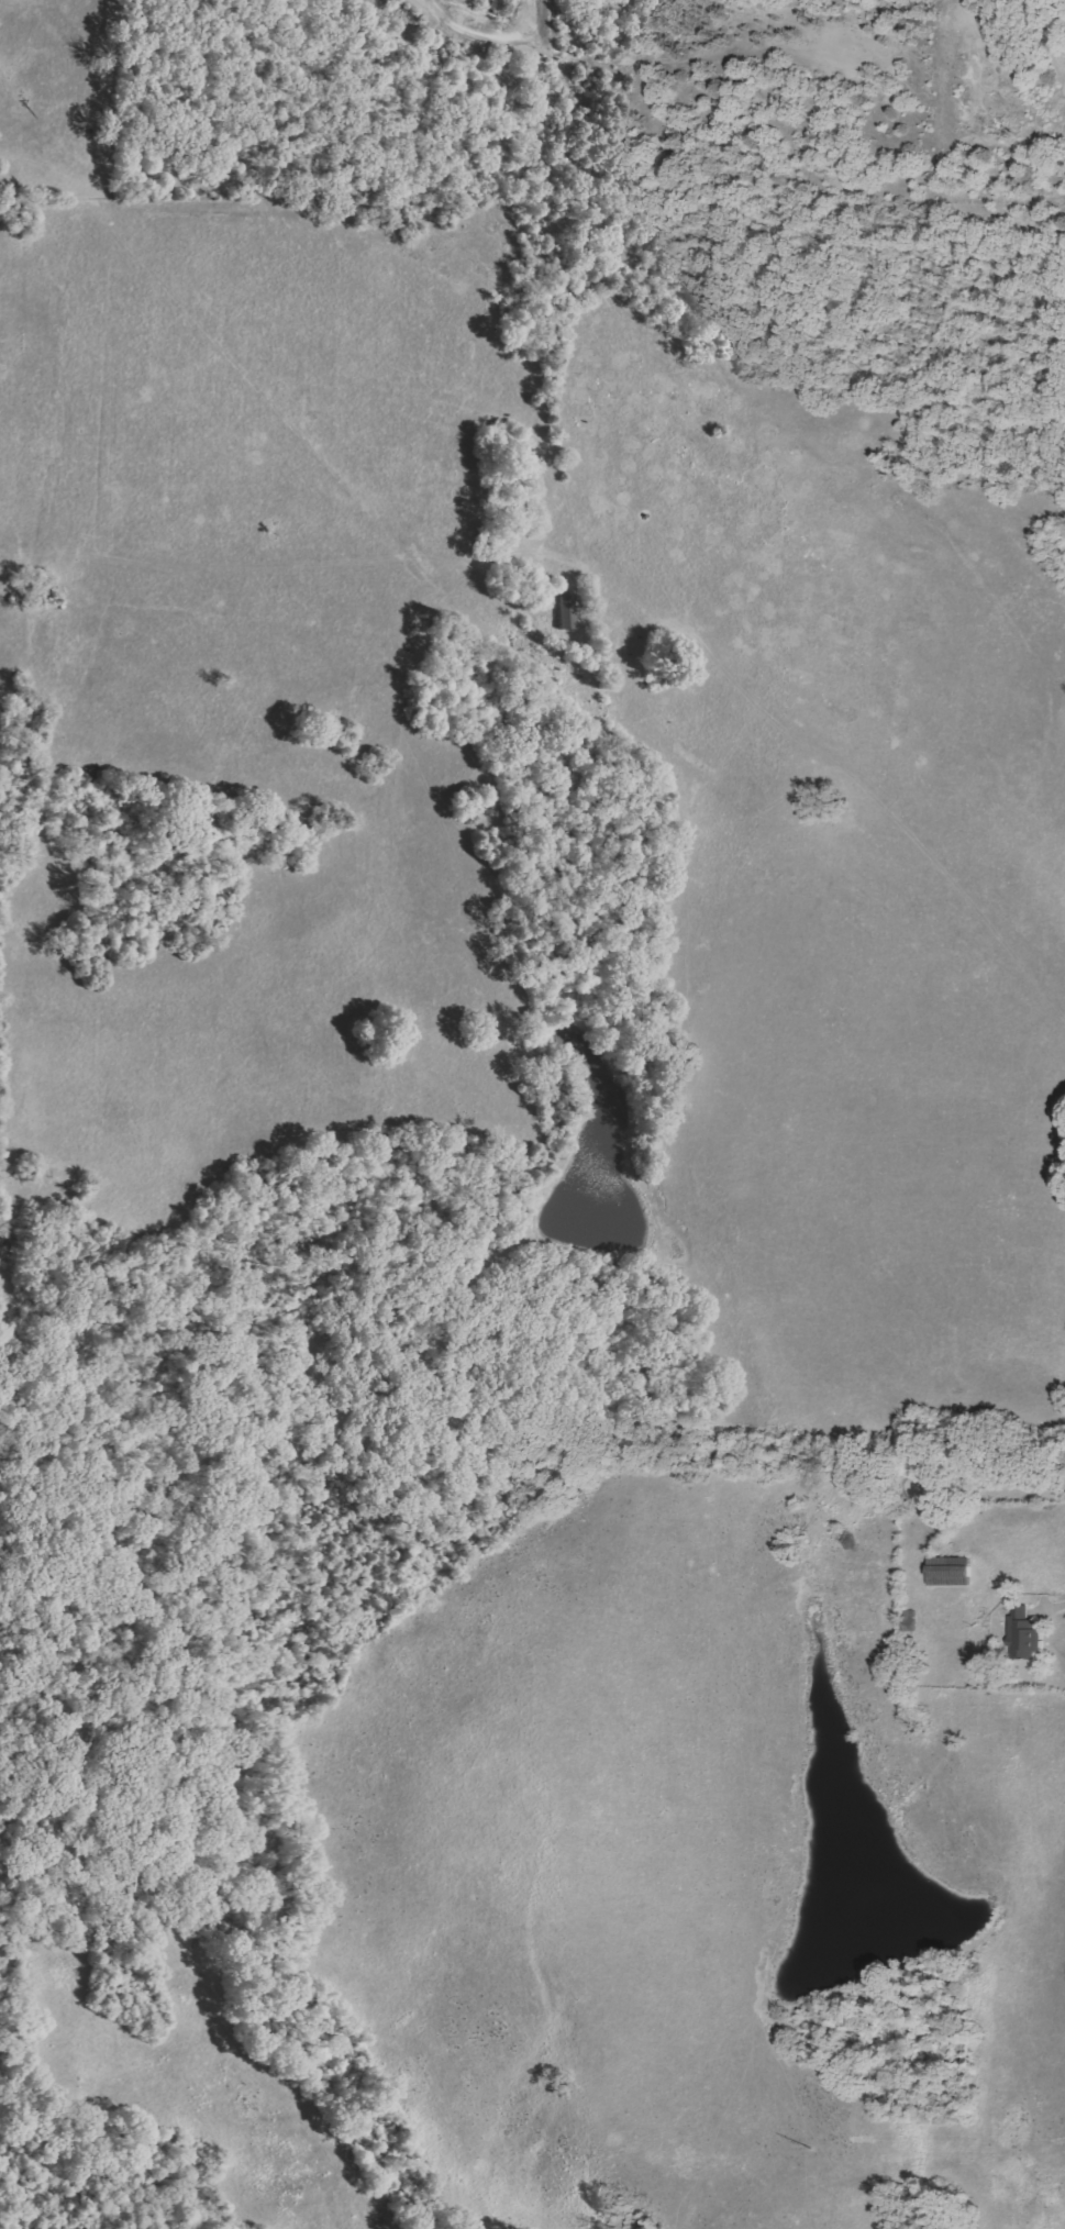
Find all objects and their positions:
road: (541, 21)
road: (479, 31)
building: (567, 611)
power tower: (811, 2149)

